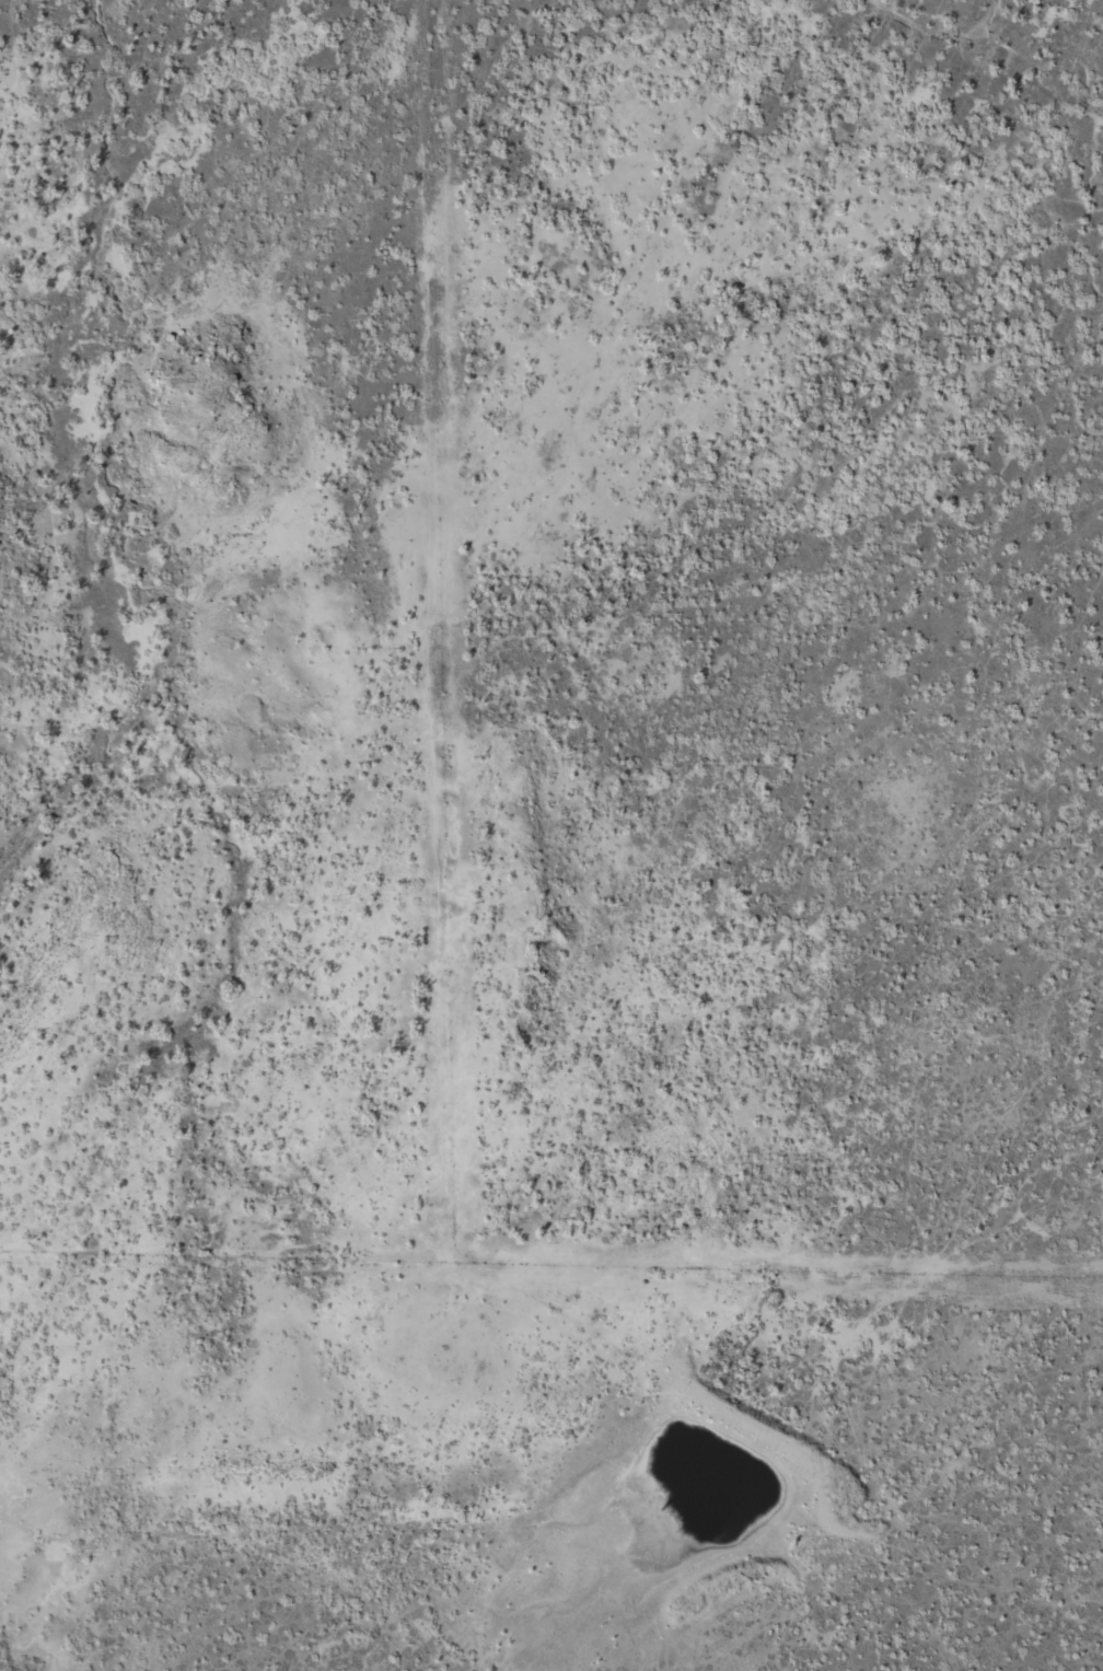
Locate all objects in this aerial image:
road: (551, 1269)
road: (890, 1574)

